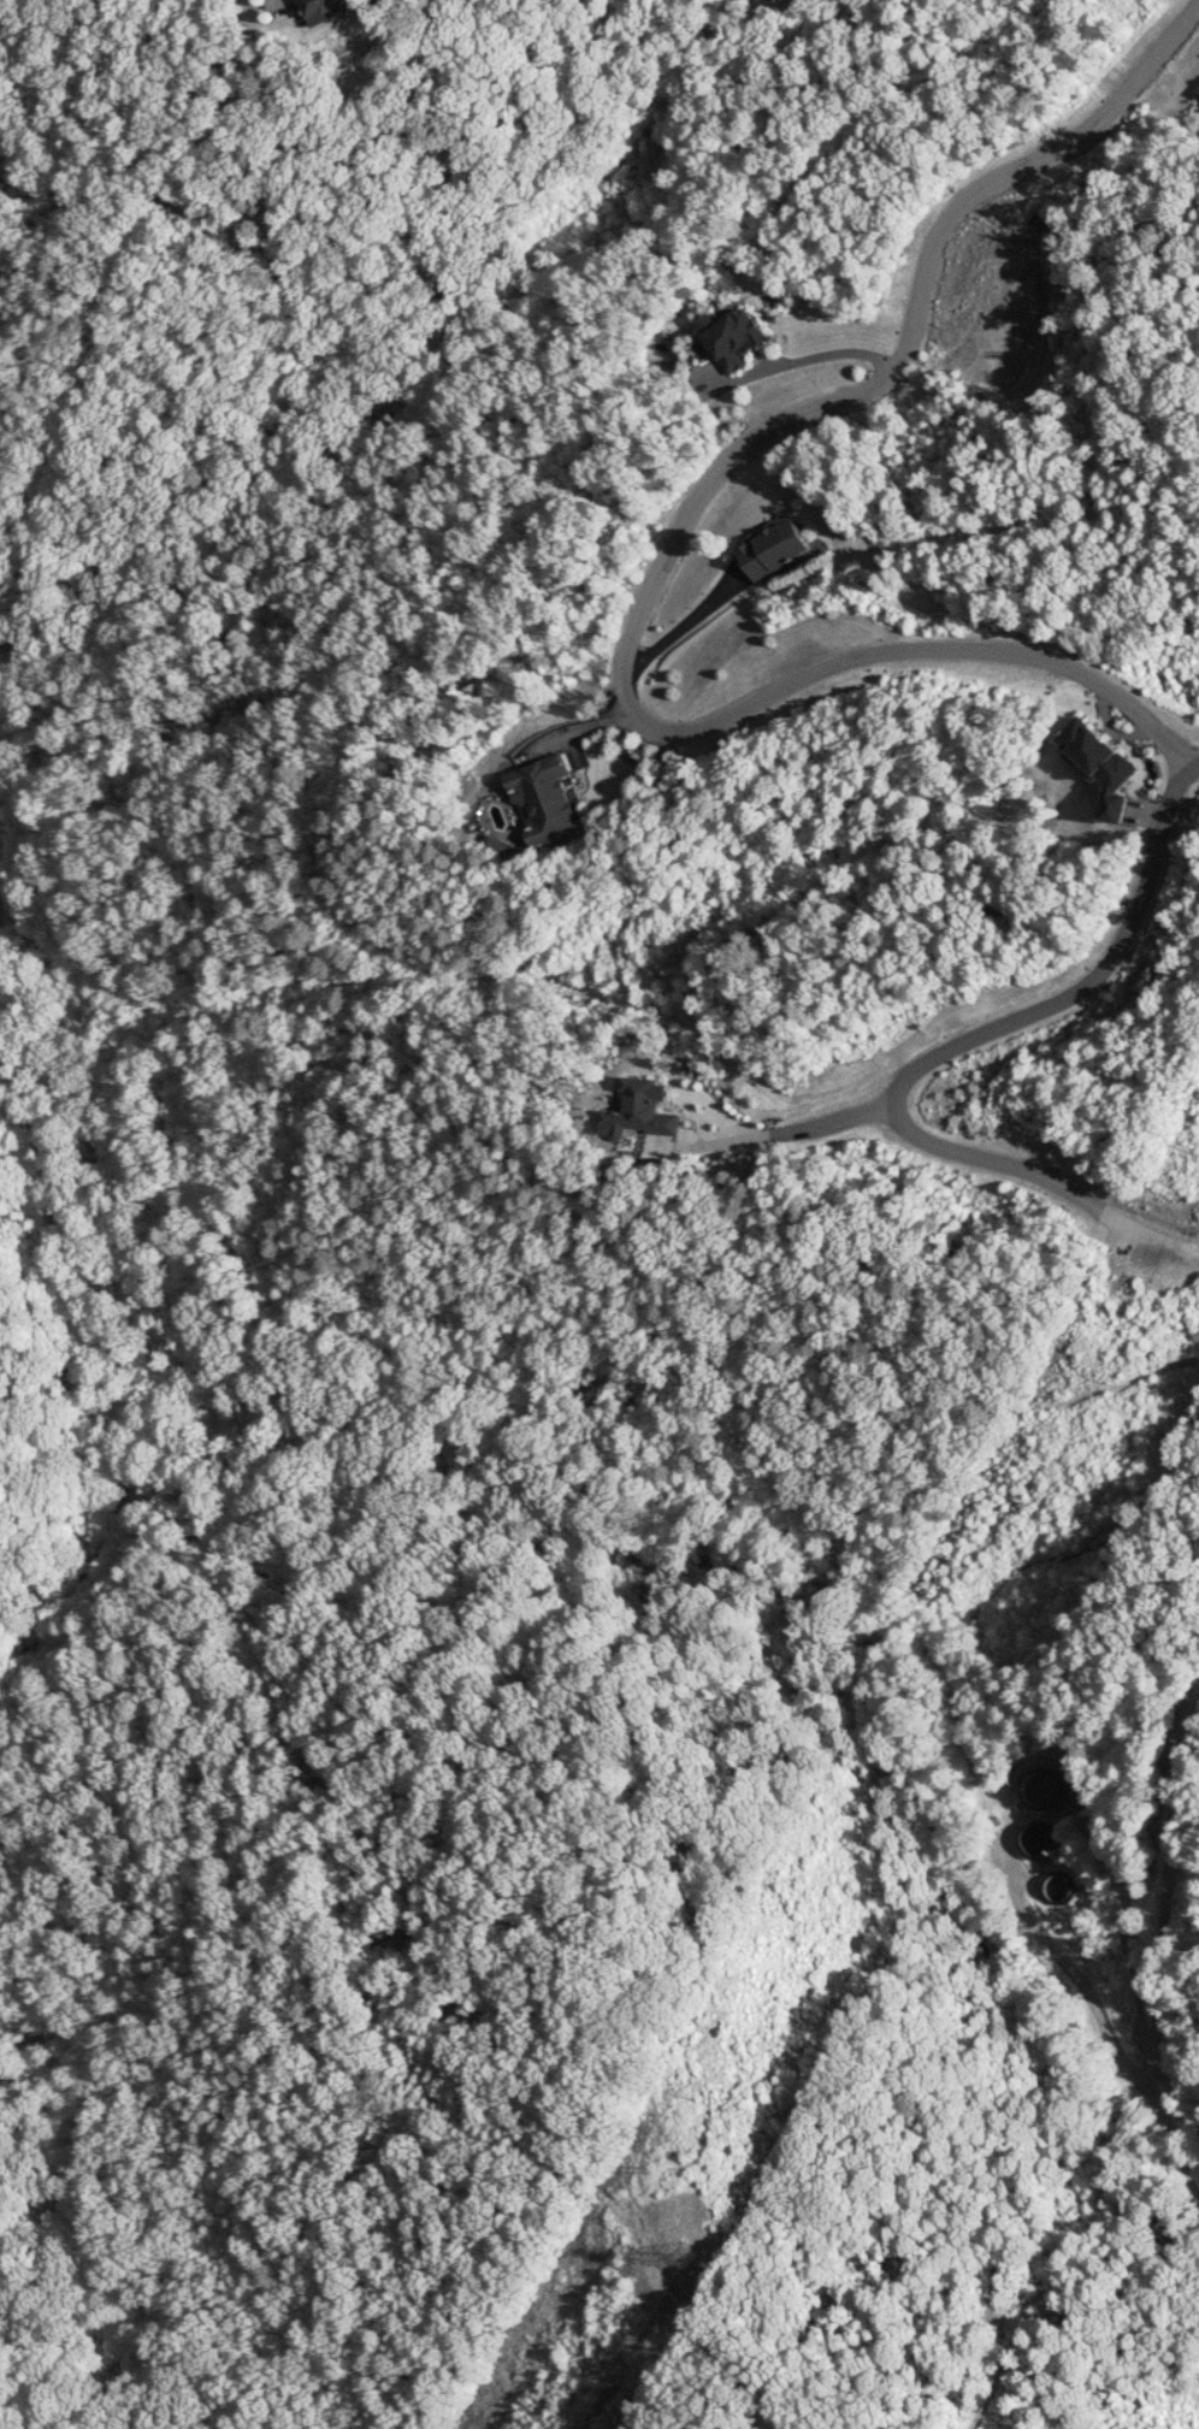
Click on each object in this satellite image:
building: (324, 10)
building: (731, 337)
building: (772, 546)
road: (669, 562)
building: (1100, 764)
building: (544, 798)
building: (500, 845)
road: (949, 1051)
building: (638, 1110)
landfill: (1182, 1674)
building: (1038, 1836)
landfill: (1080, 1942)
power tower: (684, 2254)
landfill: (1165, 2422)

